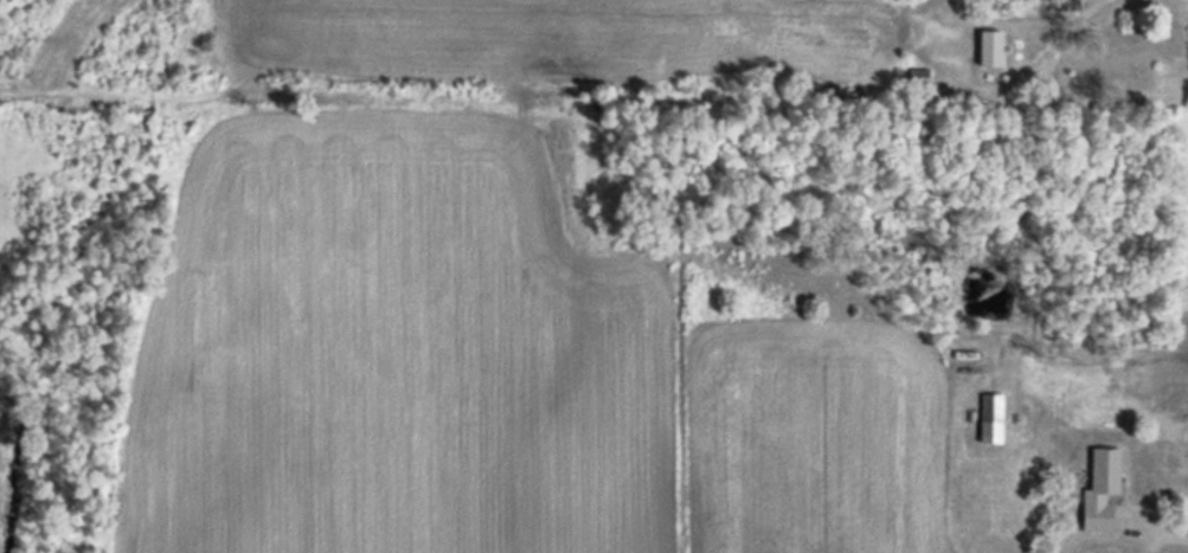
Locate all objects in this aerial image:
road: (1070, 25)
building: (990, 46)
building: (918, 75)
building: (989, 405)
building: (1102, 487)

